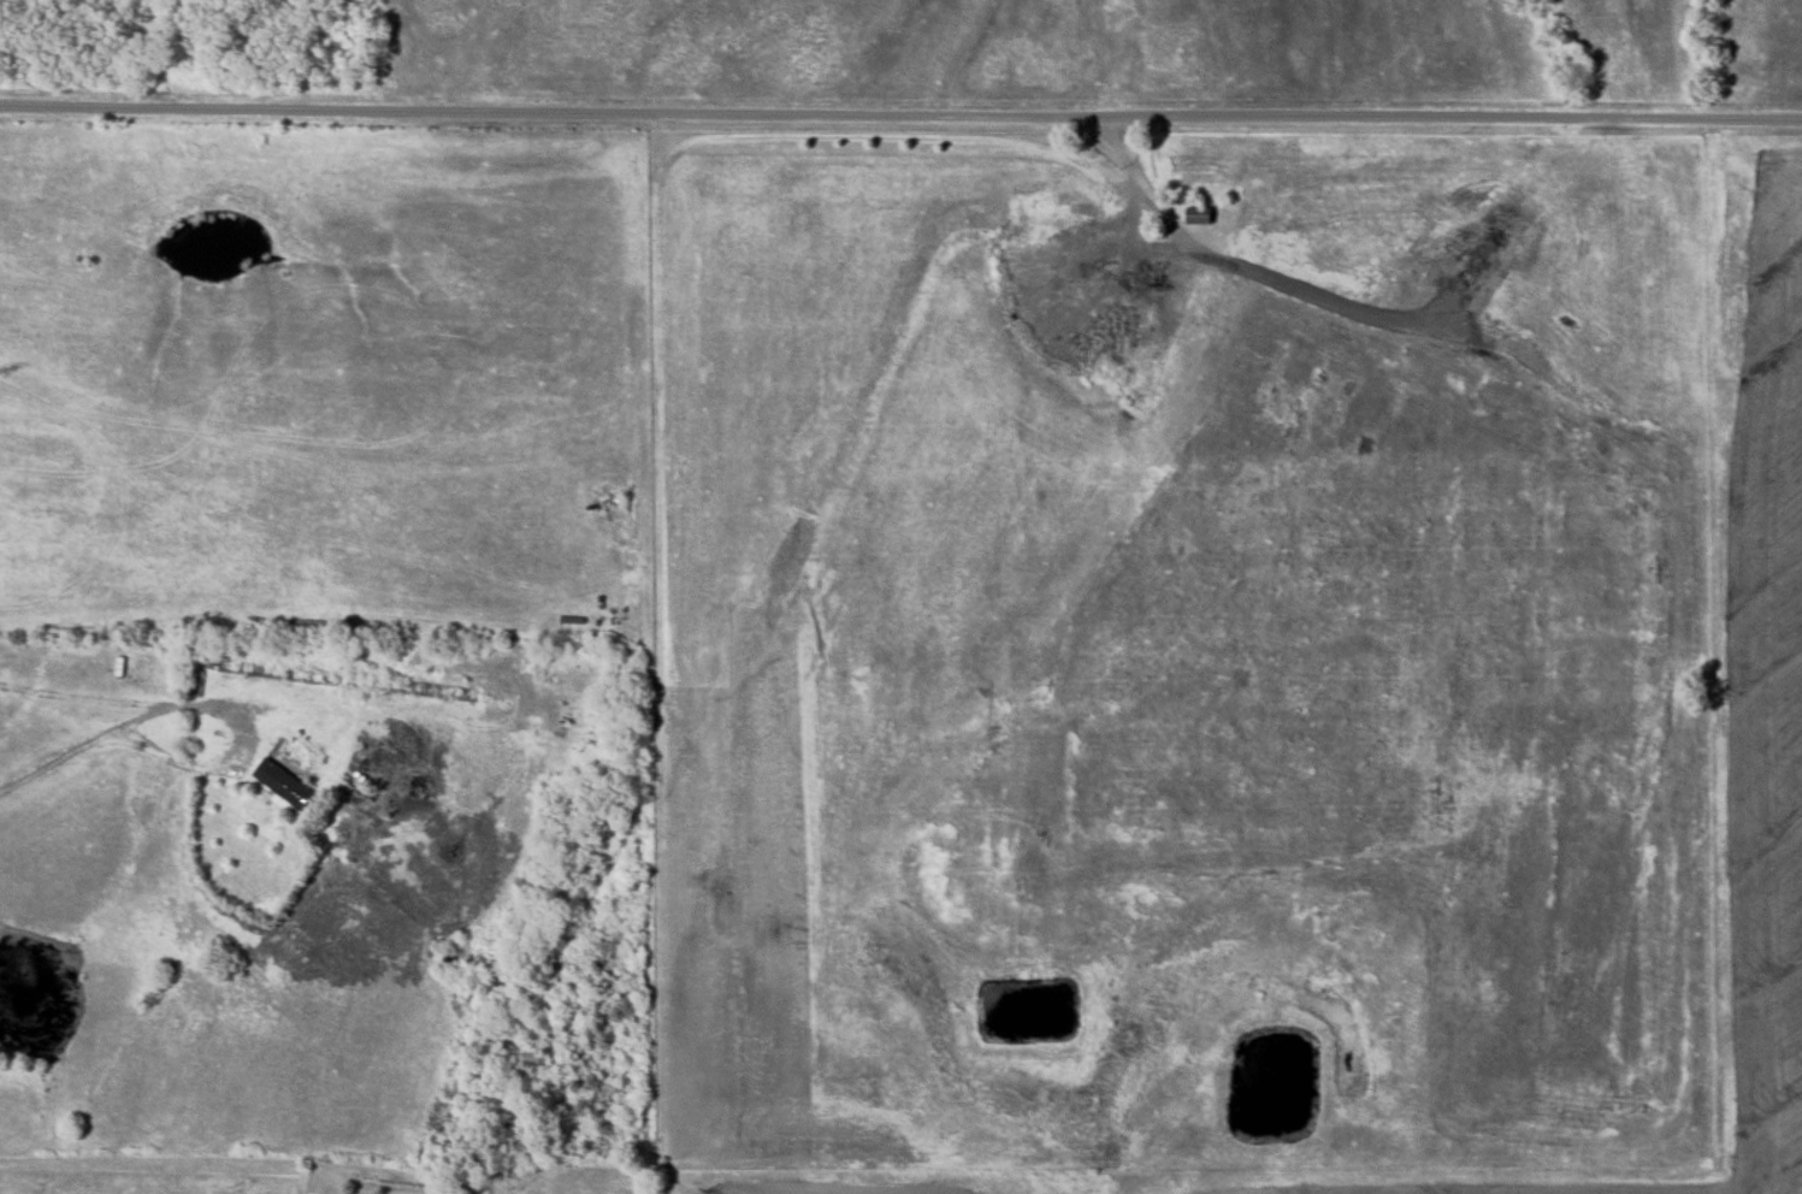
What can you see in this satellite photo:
road: (900, 114)
road: (1138, 176)
building: (1199, 215)
building: (282, 784)

